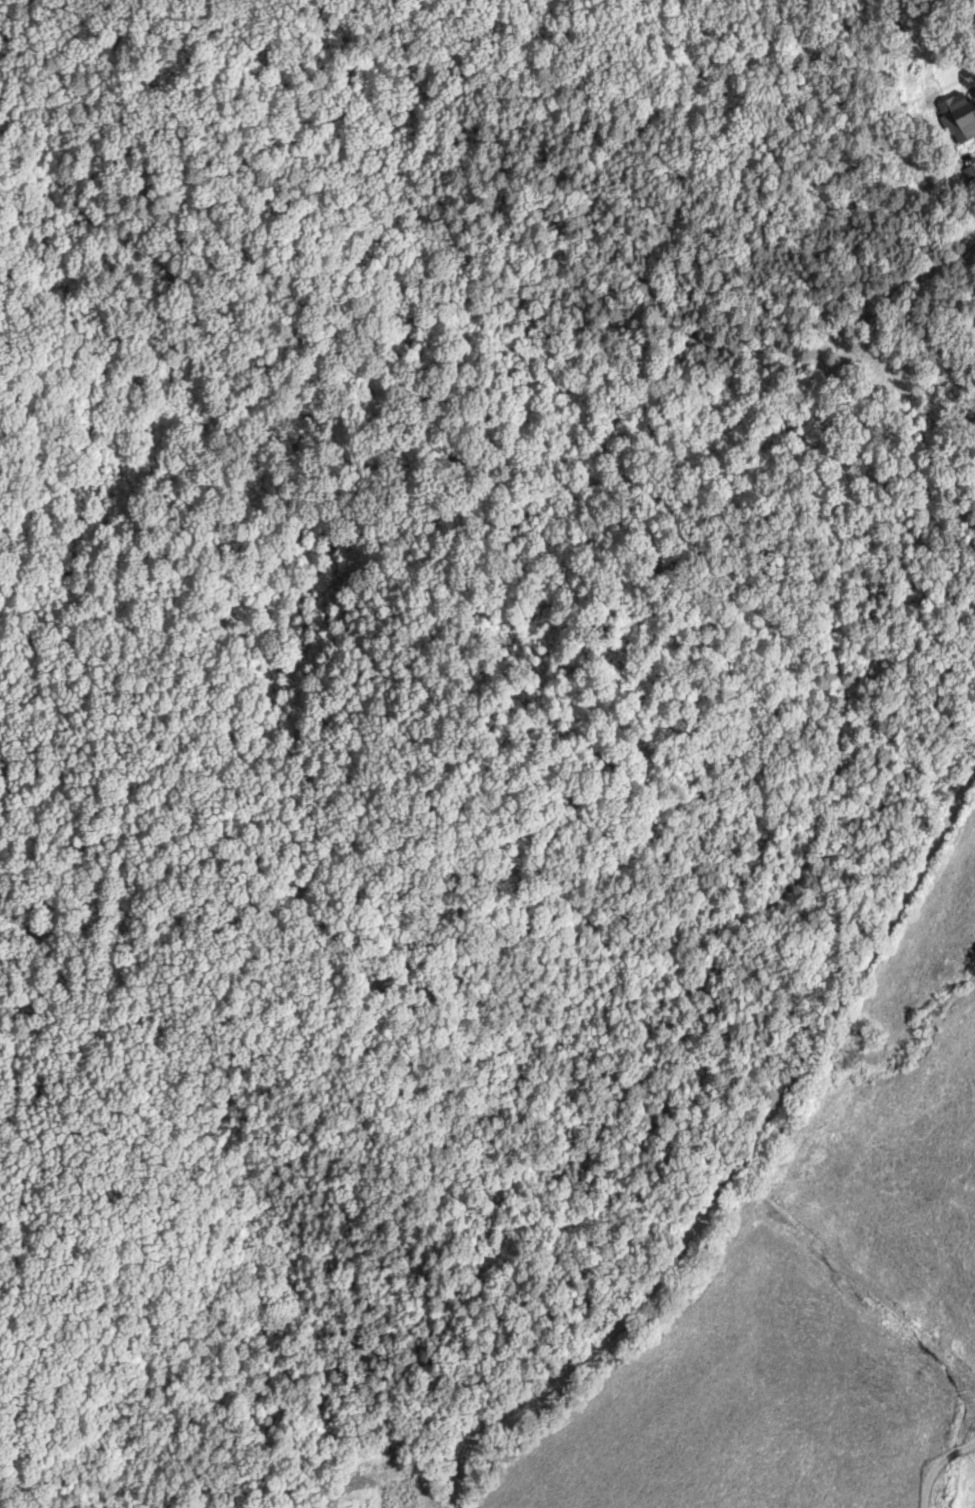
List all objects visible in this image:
building: (966, 116)
road: (401, 917)
road: (718, 1110)
road: (948, 1478)

